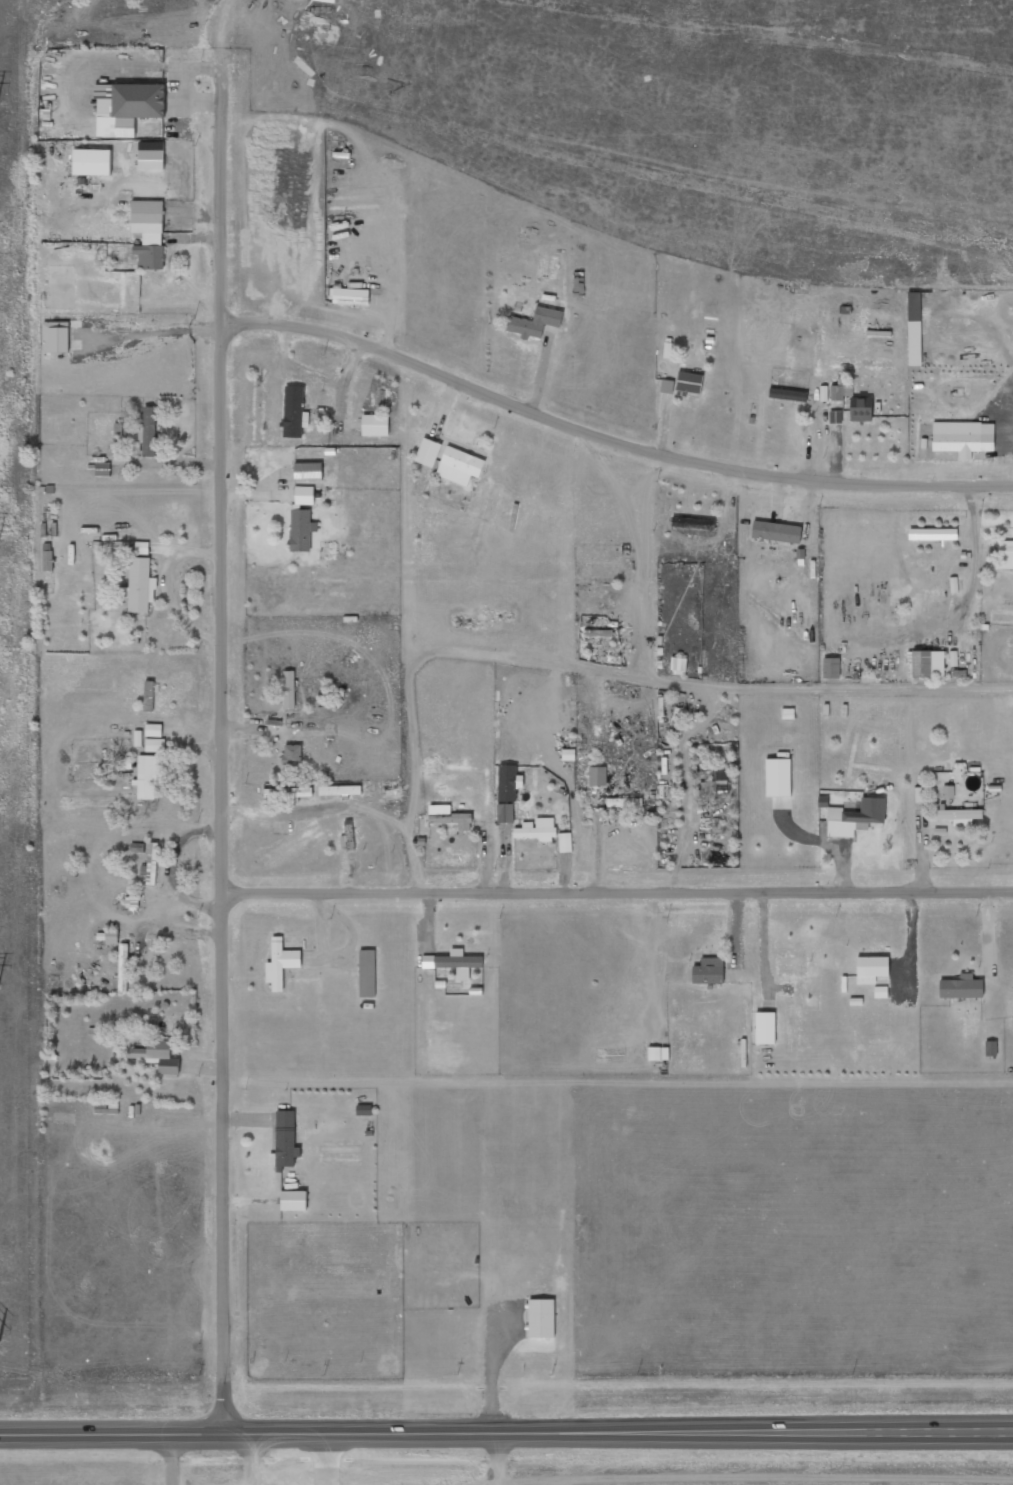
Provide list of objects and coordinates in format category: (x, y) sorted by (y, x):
building: (132, 101)
building: (151, 156)
building: (92, 162)
building: (149, 233)
building: (914, 307)
building: (535, 323)
building: (58, 339)
building: (688, 384)
building: (667, 387)
building: (840, 393)
building: (794, 396)
building: (861, 409)
building: (295, 413)
building: (835, 418)
building: (375, 426)
building: (149, 432)
road: (609, 436)
building: (957, 438)
building: (428, 453)
building: (460, 467)
building: (103, 470)
building: (308, 472)
building: (304, 496)
building: (301, 530)
building: (776, 532)
building: (933, 534)
building: (48, 562)
building: (141, 585)
building: (592, 634)
building: (928, 664)
building: (678, 666)
building: (831, 668)
building: (289, 690)
road: (224, 739)
building: (568, 749)
building: (292, 755)
building: (127, 767)
building: (717, 772)
building: (149, 776)
building: (597, 777)
building: (778, 778)
building: (509, 784)
building: (340, 791)
building: (948, 792)
building: (303, 793)
building: (624, 803)
building: (505, 814)
building: (958, 816)
building: (449, 817)
building: (855, 818)
building: (538, 830)
building: (565, 843)
building: (137, 848)
building: (153, 863)
road: (618, 890)
building: (112, 937)
building: (454, 963)
building: (281, 964)
building: (791, 967)
building: (871, 969)
building: (709, 971)
building: (367, 974)
power tower: (0, 987)
building: (962, 988)
building: (787, 989)
building: (765, 1028)
building: (991, 1049)
building: (658, 1054)
building: (158, 1056)
building: (285, 1140)
building: (294, 1201)
building: (541, 1318)
road: (506, 1434)

